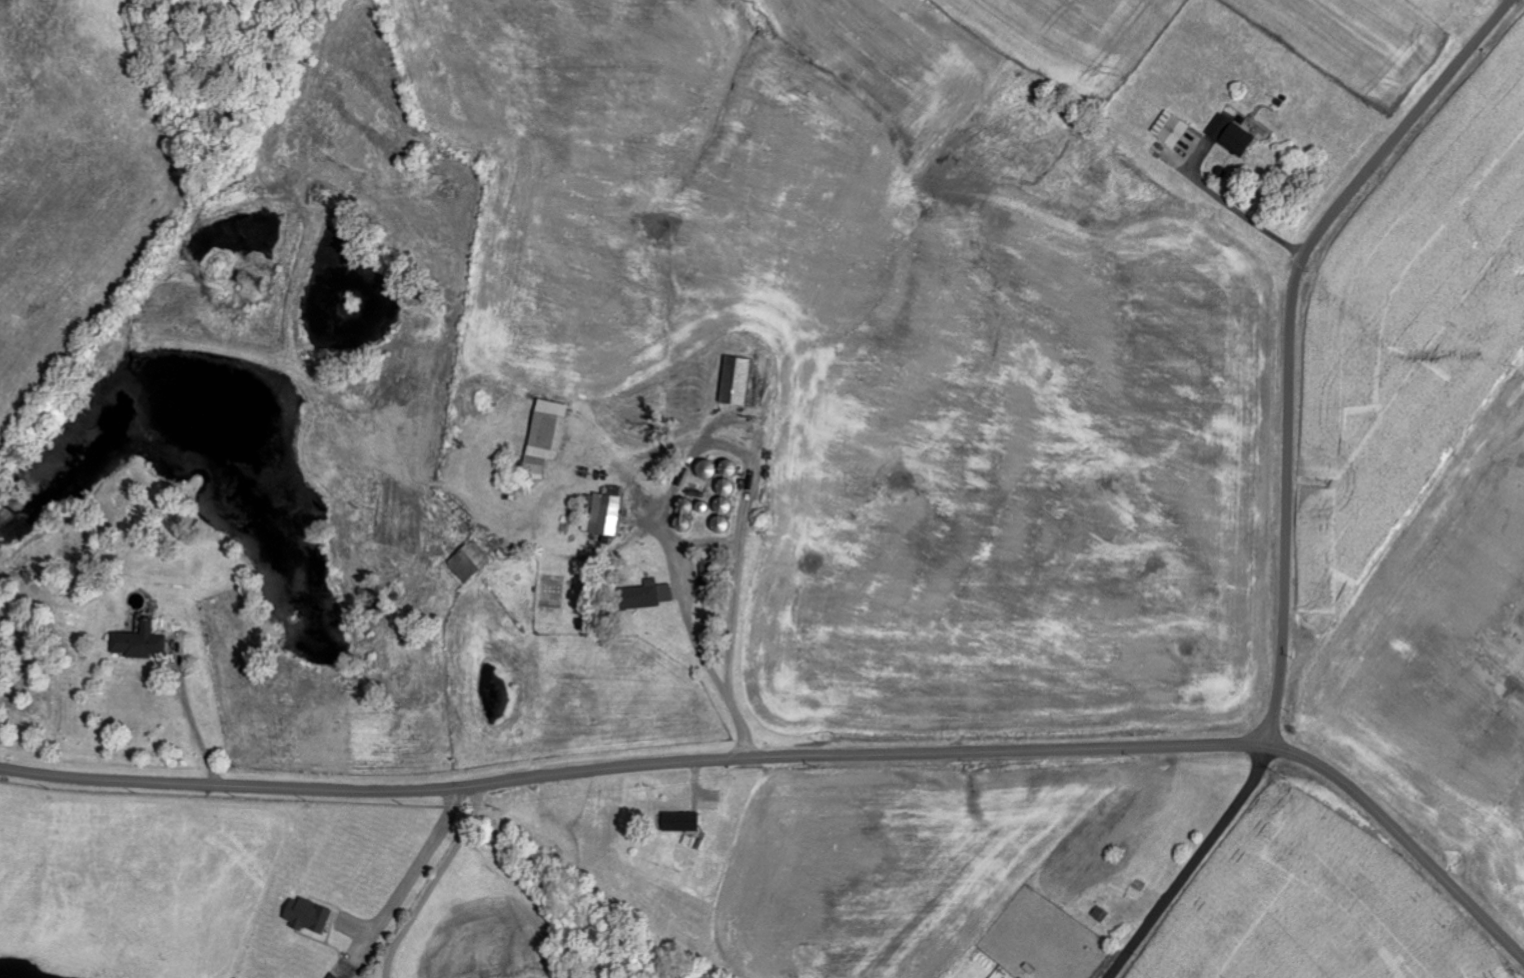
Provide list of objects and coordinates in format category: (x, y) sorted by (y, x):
building: (1173, 129)
building: (1233, 137)
road: (1236, 212)
road: (1289, 339)
building: (739, 382)
building: (551, 434)
building: (723, 490)
building: (607, 514)
building: (471, 563)
building: (709, 577)
building: (654, 595)
building: (143, 643)
road: (702, 651)
road: (196, 724)
road: (800, 756)
building: (684, 822)
road: (1191, 866)
road: (418, 868)
road: (436, 882)
building: (311, 915)
building: (336, 976)

